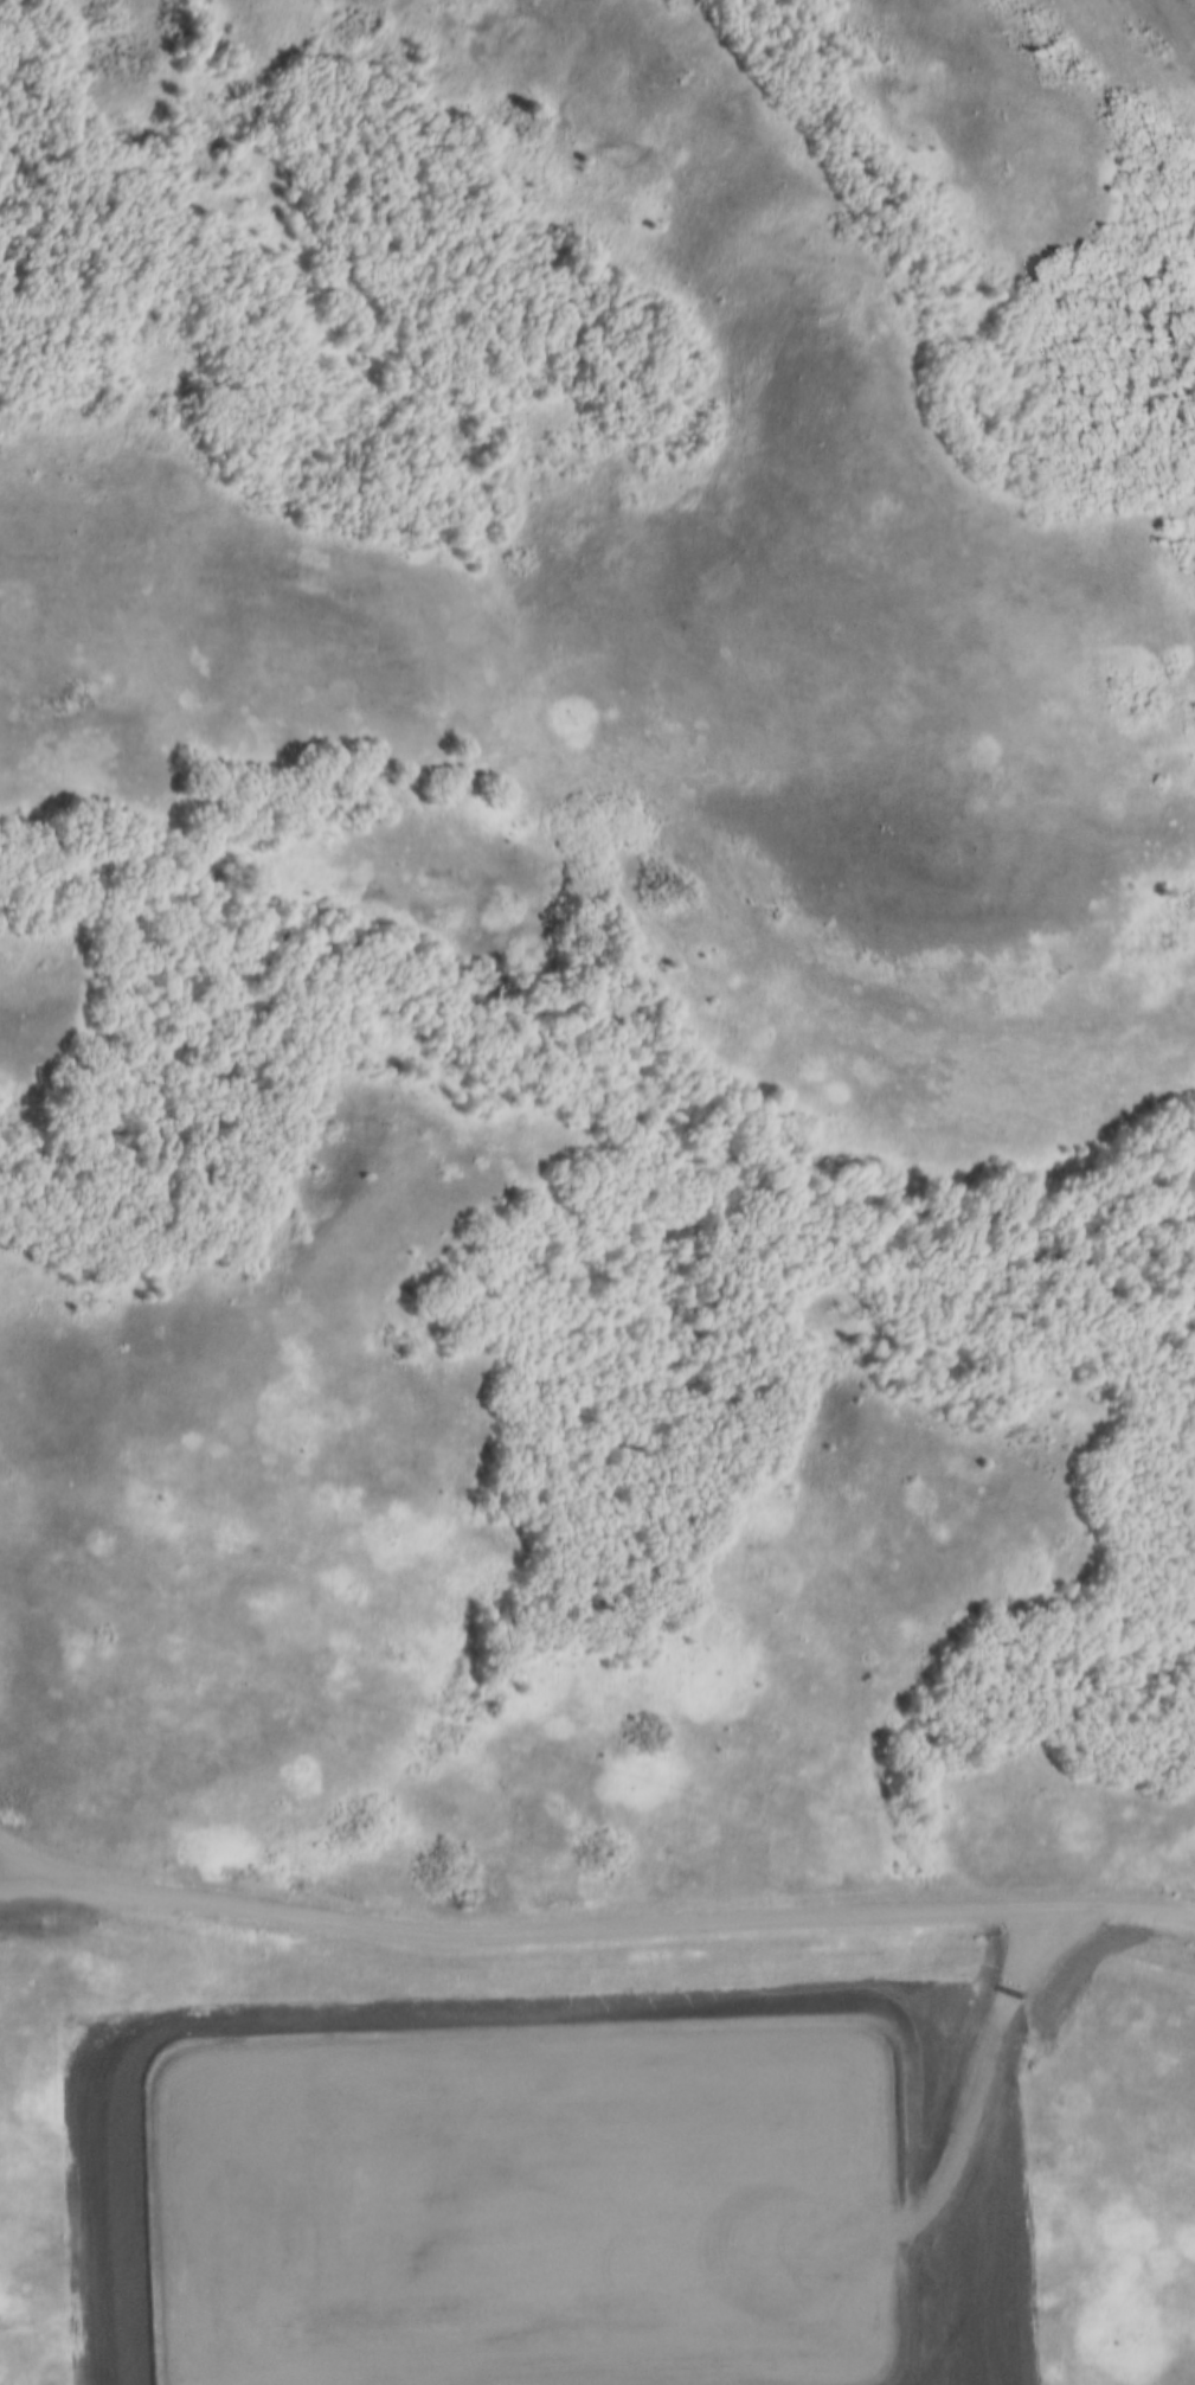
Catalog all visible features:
road: (591, 1916)

